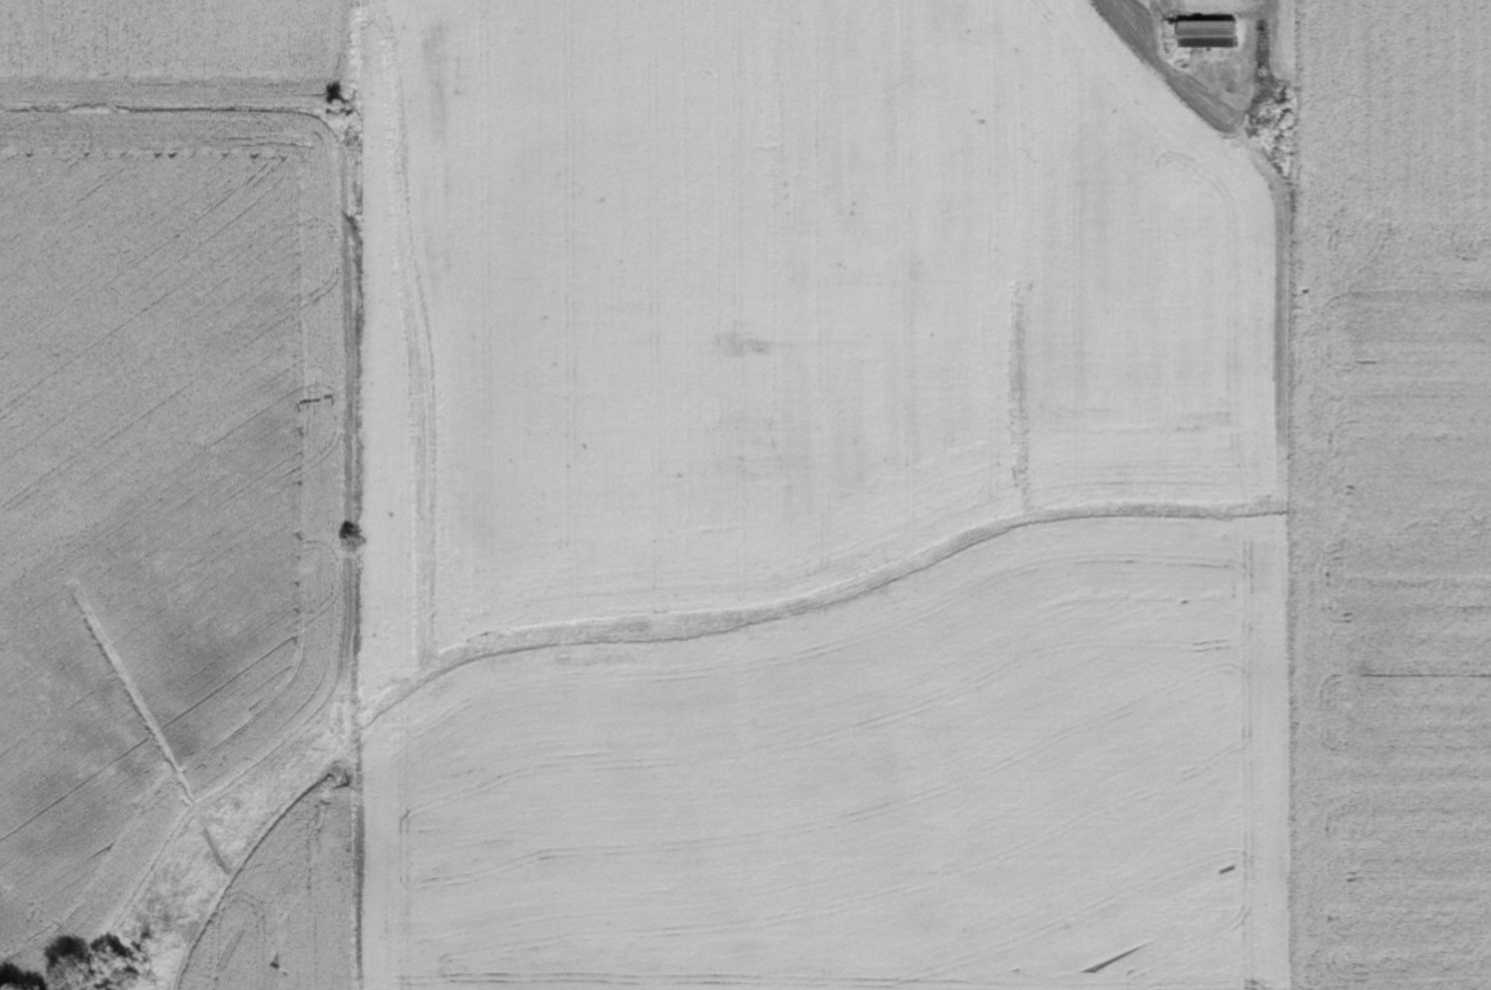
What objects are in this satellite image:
building: (1205, 36)

